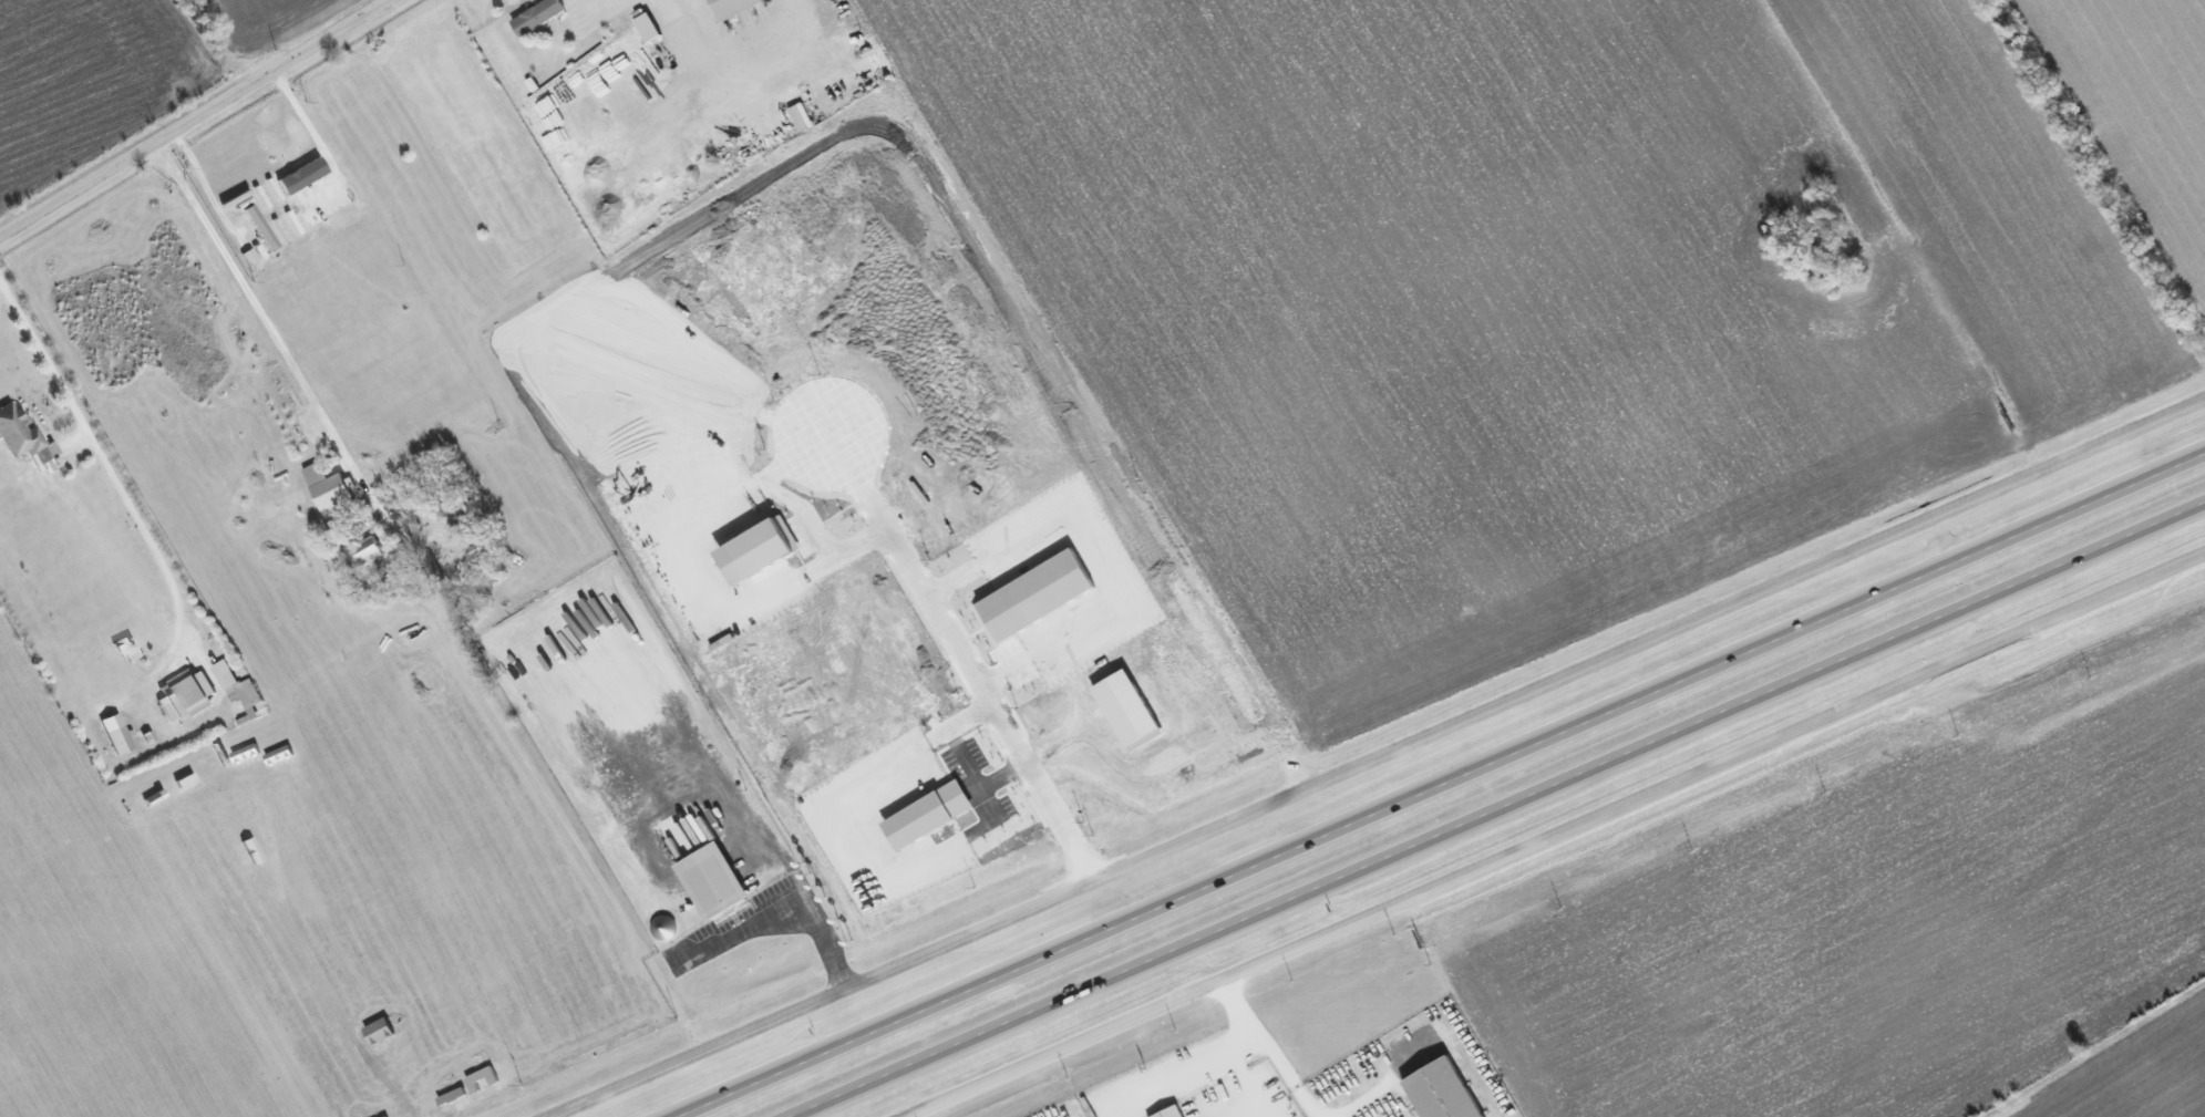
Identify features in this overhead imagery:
building: (738, 8)
road: (608, 10)
building: (540, 17)
building: (650, 28)
road: (197, 120)
road: (311, 130)
building: (303, 175)
building: (261, 227)
road: (260, 316)
building: (25, 437)
road: (121, 488)
building: (332, 490)
building: (368, 551)
road: (968, 664)
building: (238, 687)
building: (186, 696)
building: (1133, 702)
building: (117, 734)
road: (1382, 757)
road: (1445, 787)
building: (936, 808)
road: (1503, 811)
road: (1560, 836)
building: (719, 876)
road: (785, 904)
building: (381, 1031)
road: (1269, 1049)
road: (1229, 1068)
crop: (2139, 1076)
building: (1449, 1089)
road: (1362, 1098)
building: (1172, 1111)

